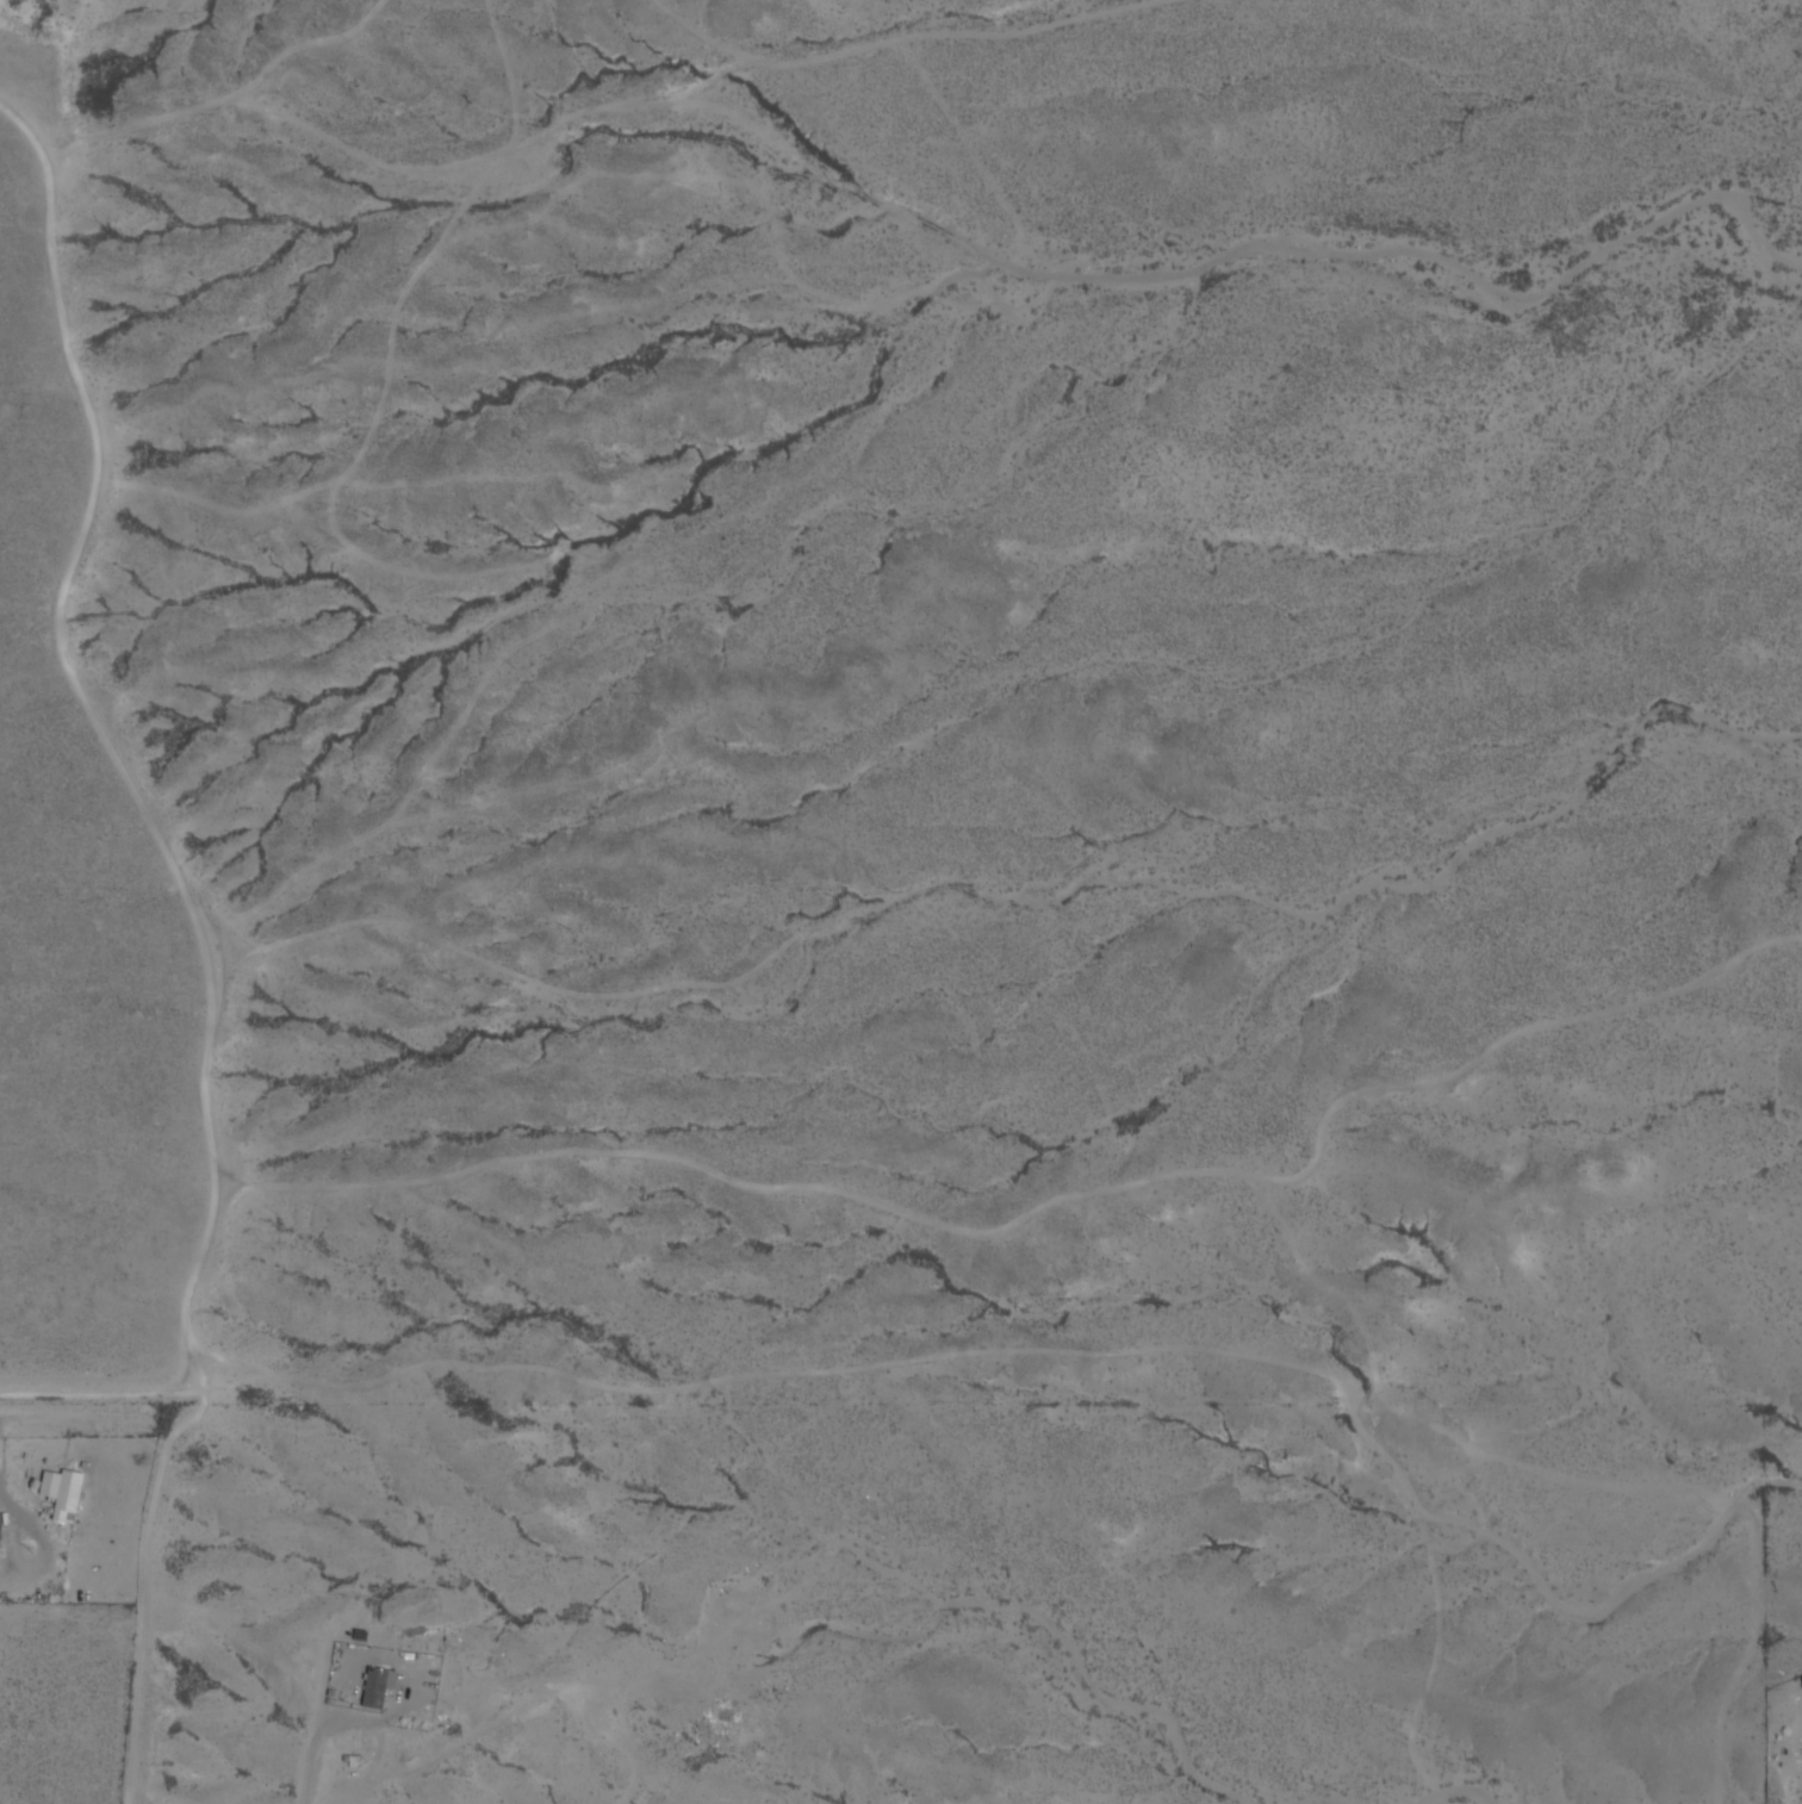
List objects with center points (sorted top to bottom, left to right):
road: (216, 919)
road: (87, 1393)
building: (60, 1493)
building: (0, 1519)
building: (375, 1688)

